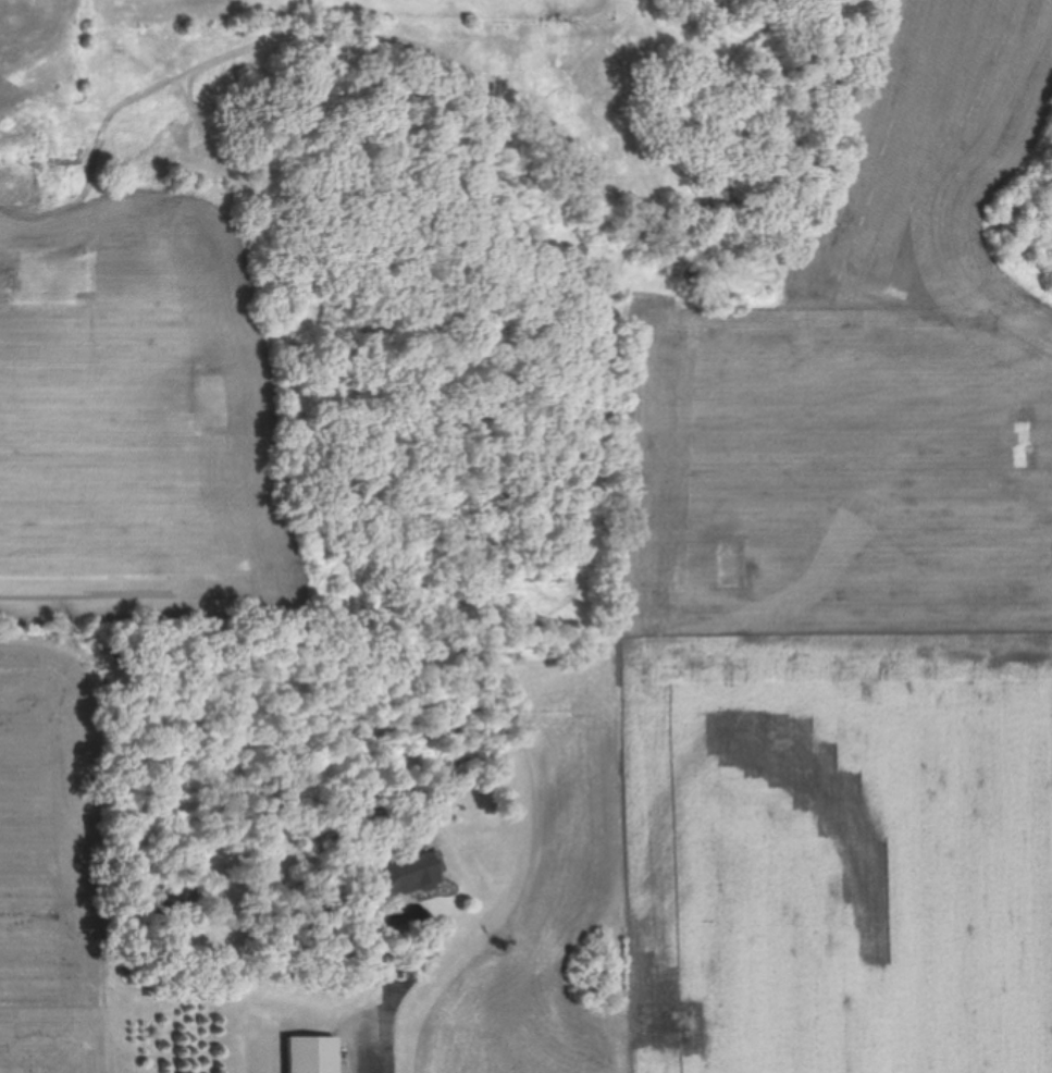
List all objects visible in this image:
building: (405, 875)
road: (399, 952)
road: (398, 1041)
building: (318, 1053)

